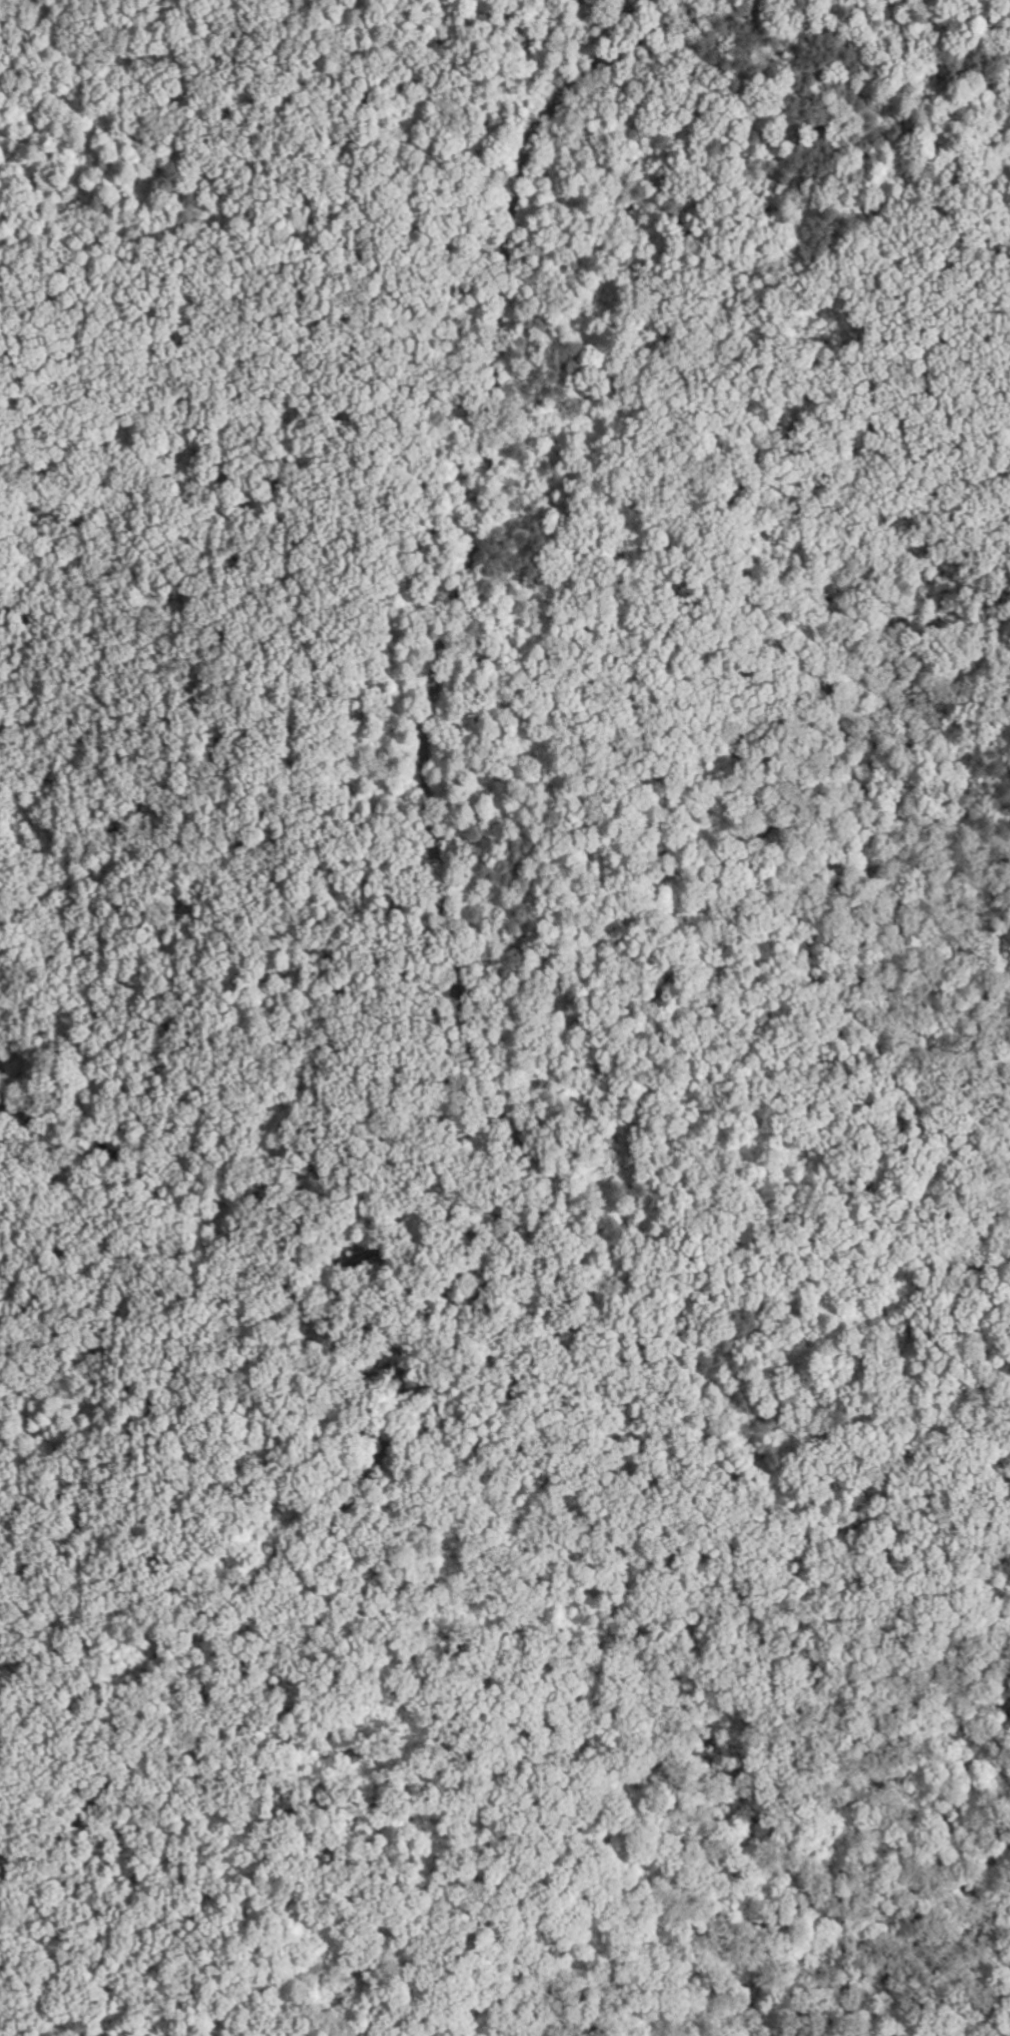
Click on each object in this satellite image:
road: (459, 982)

